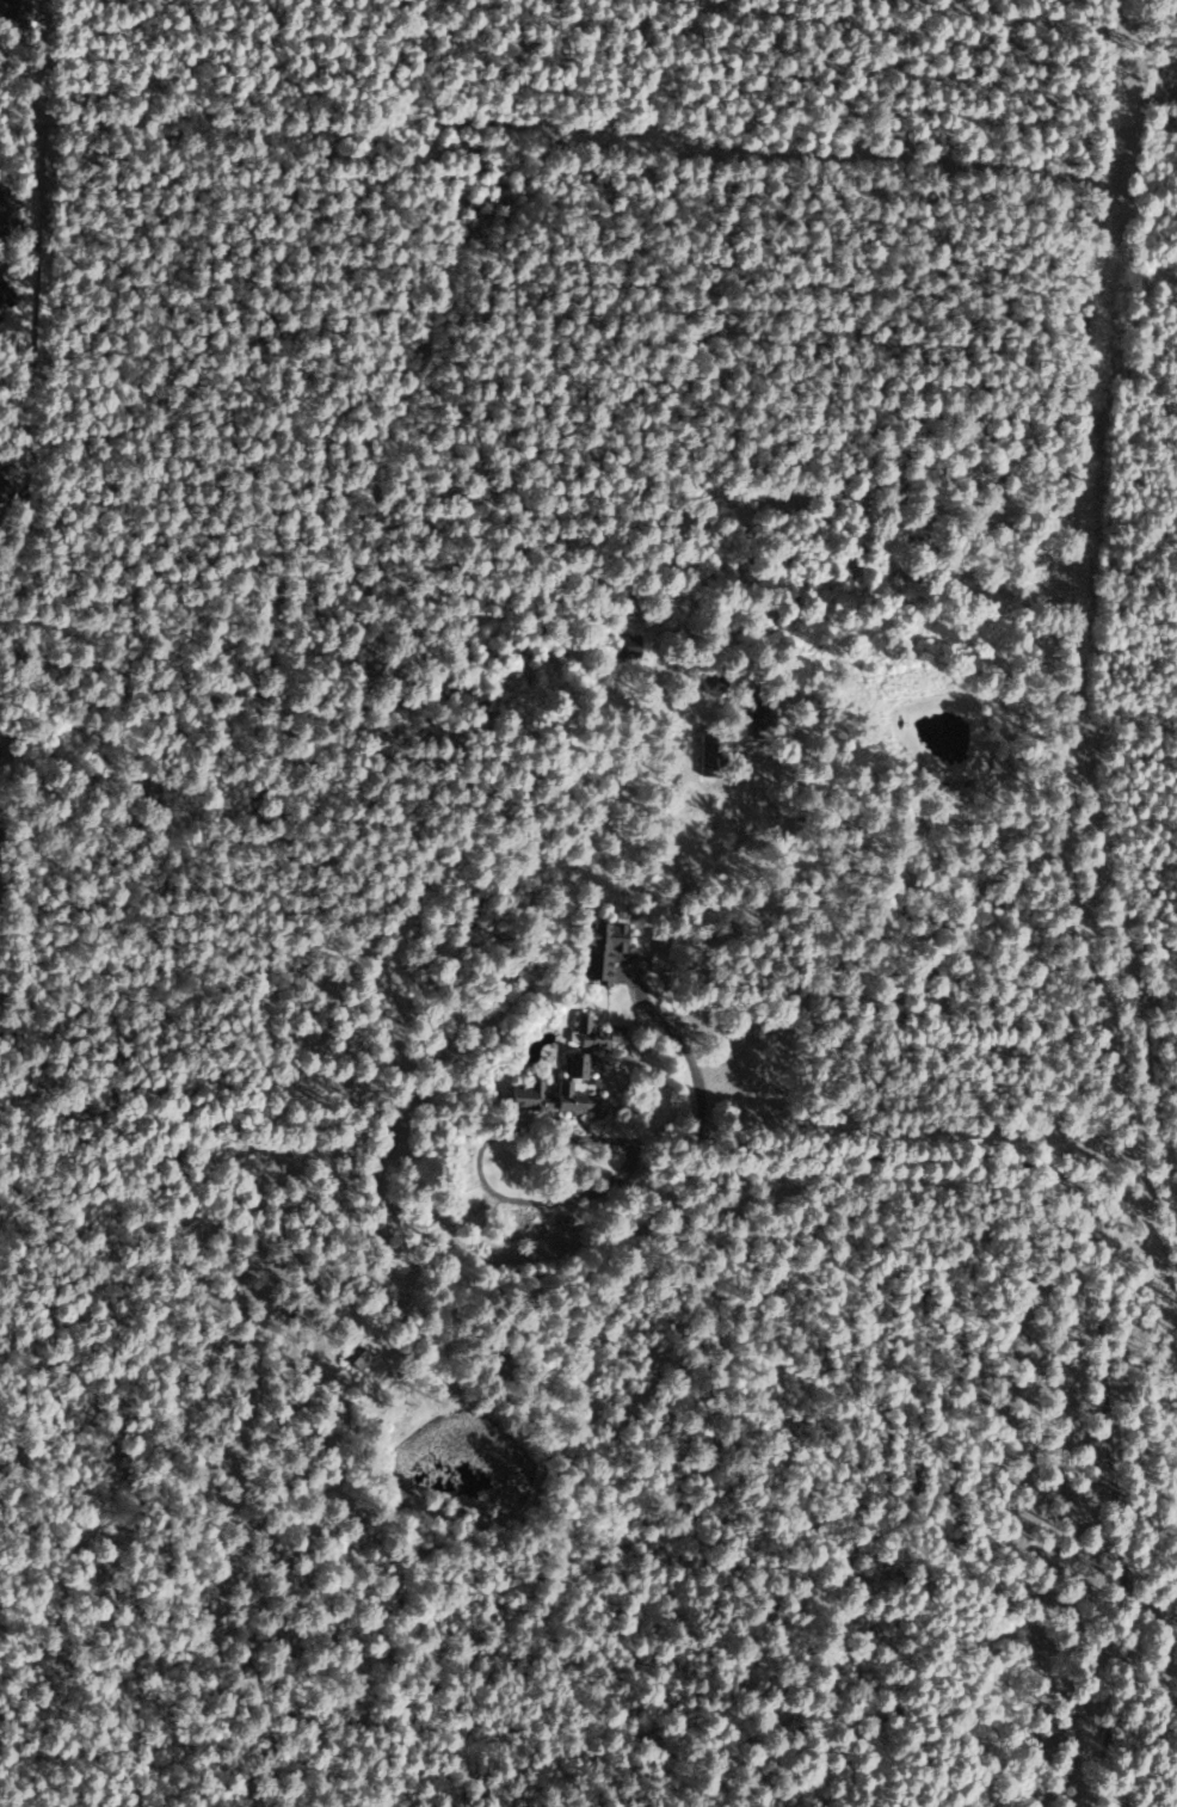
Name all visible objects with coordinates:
building: (2, 213)
building: (2, 297)
building: (627, 644)
building: (596, 948)
building: (592, 1032)
building: (553, 1092)
road: (1097, 1256)
building: (356, 1356)

